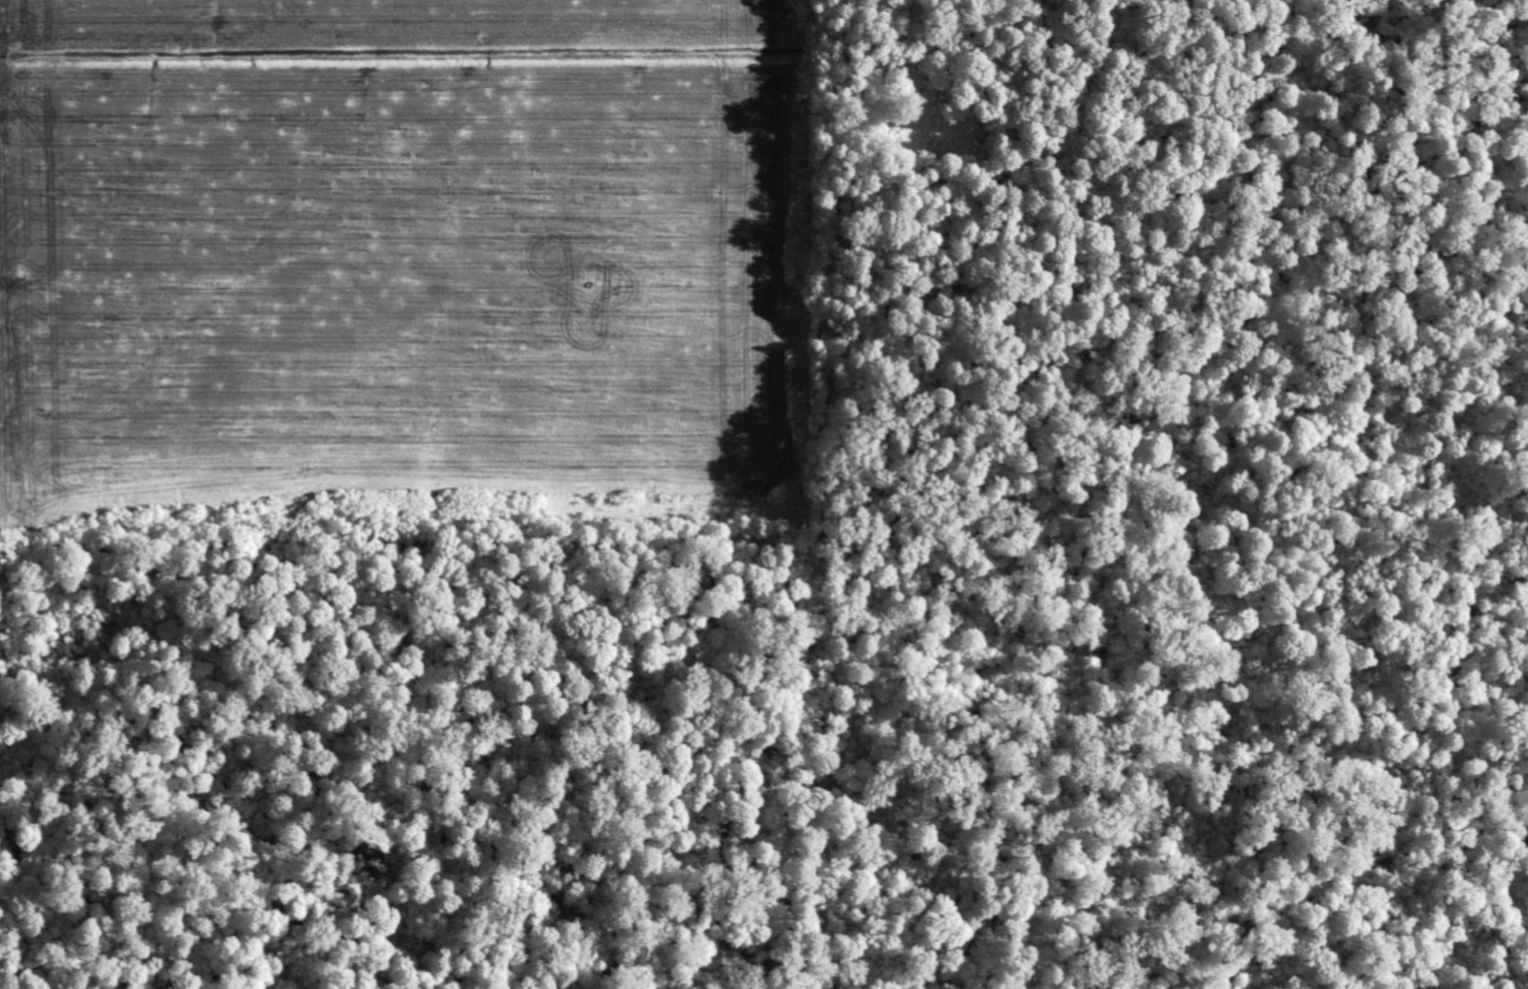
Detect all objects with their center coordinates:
road: (25, 502)
park: (905, 586)

